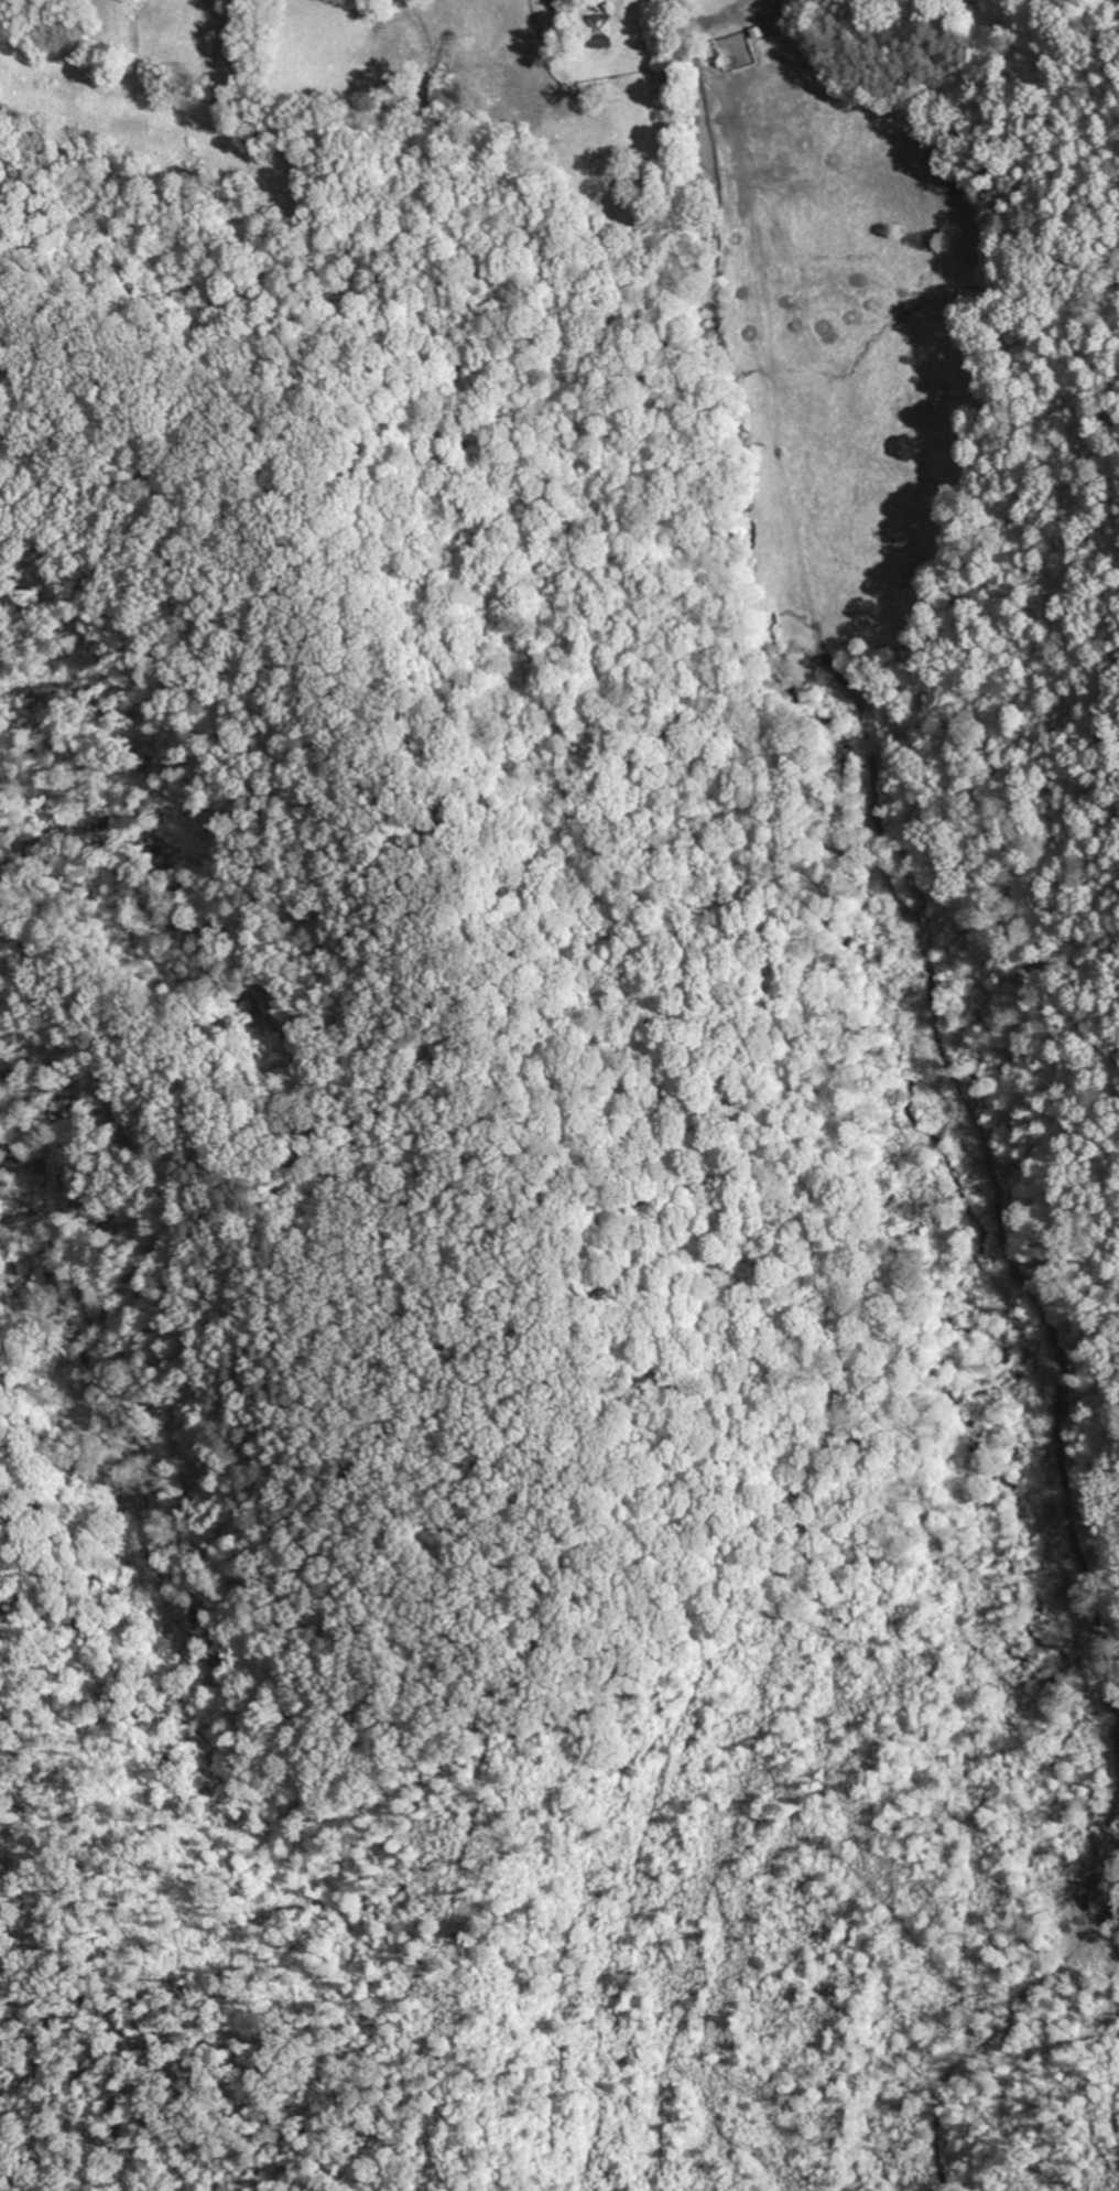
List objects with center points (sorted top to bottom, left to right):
building: (602, 30)

